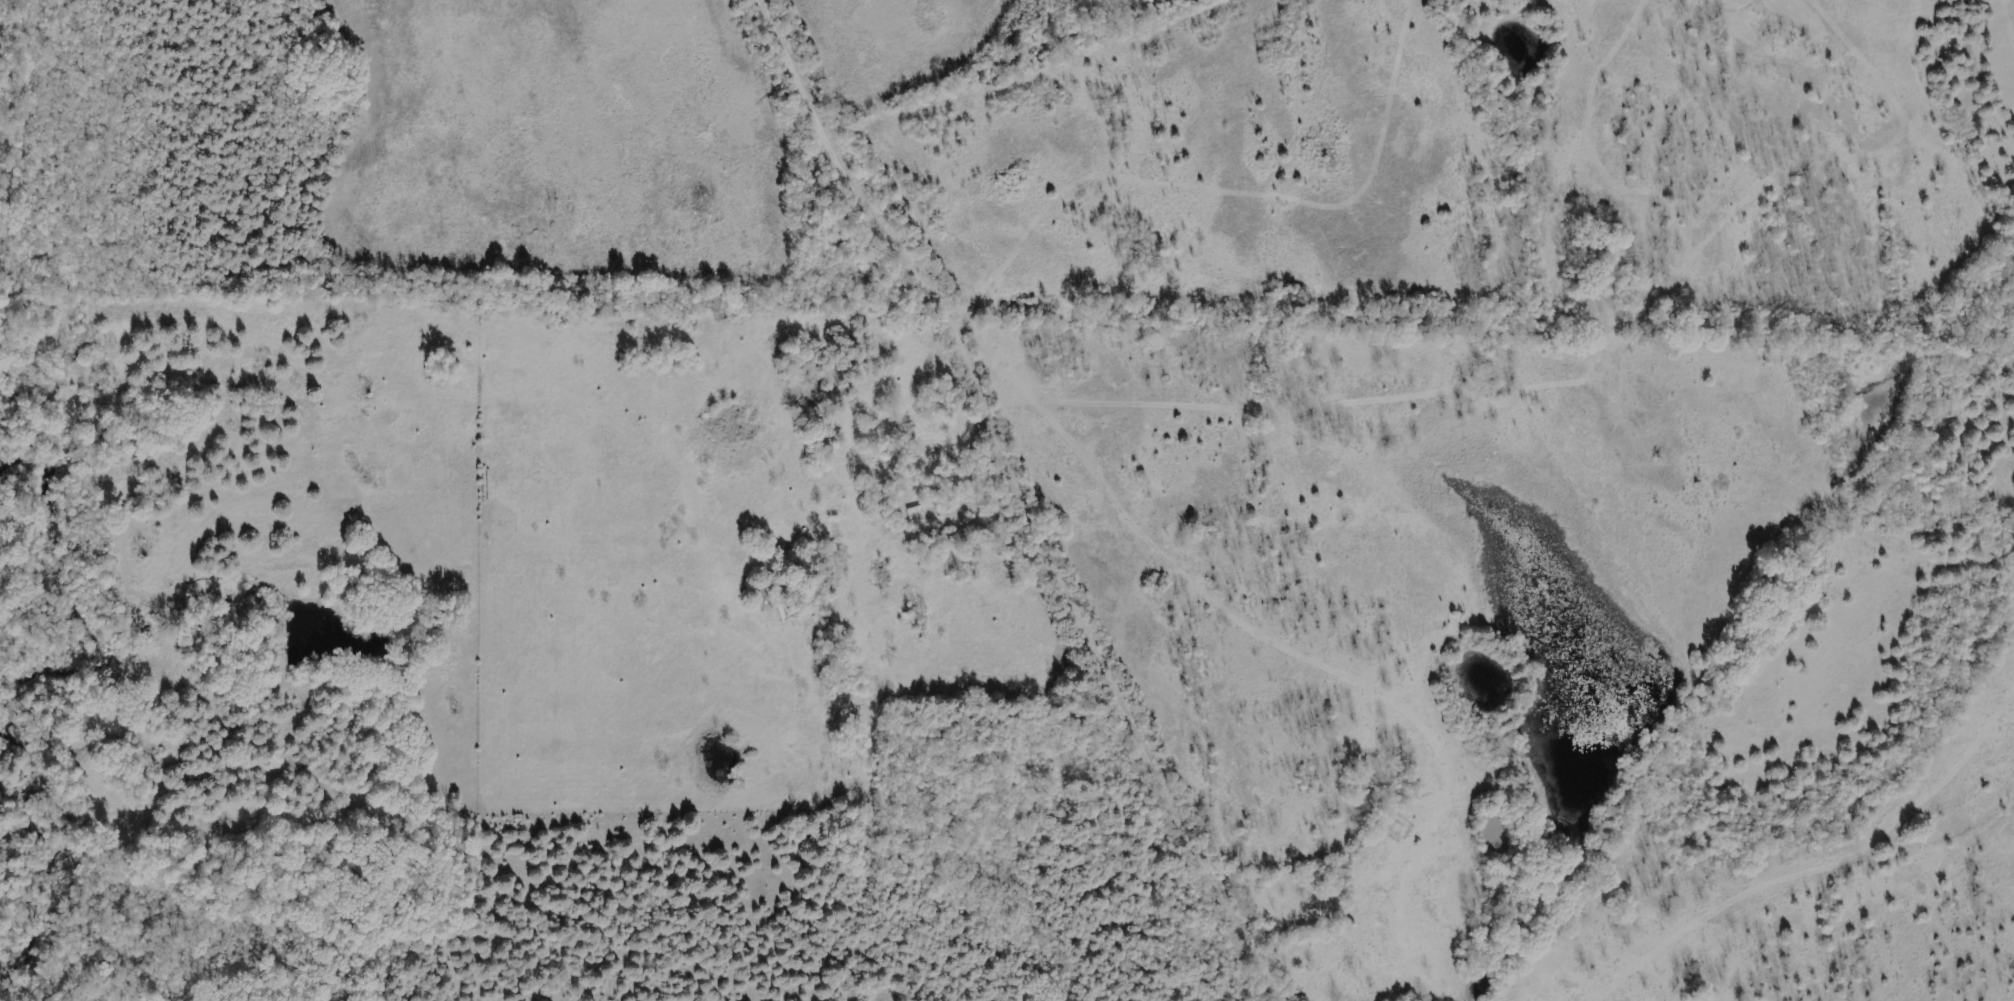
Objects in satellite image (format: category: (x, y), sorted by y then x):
road: (1009, 508)

